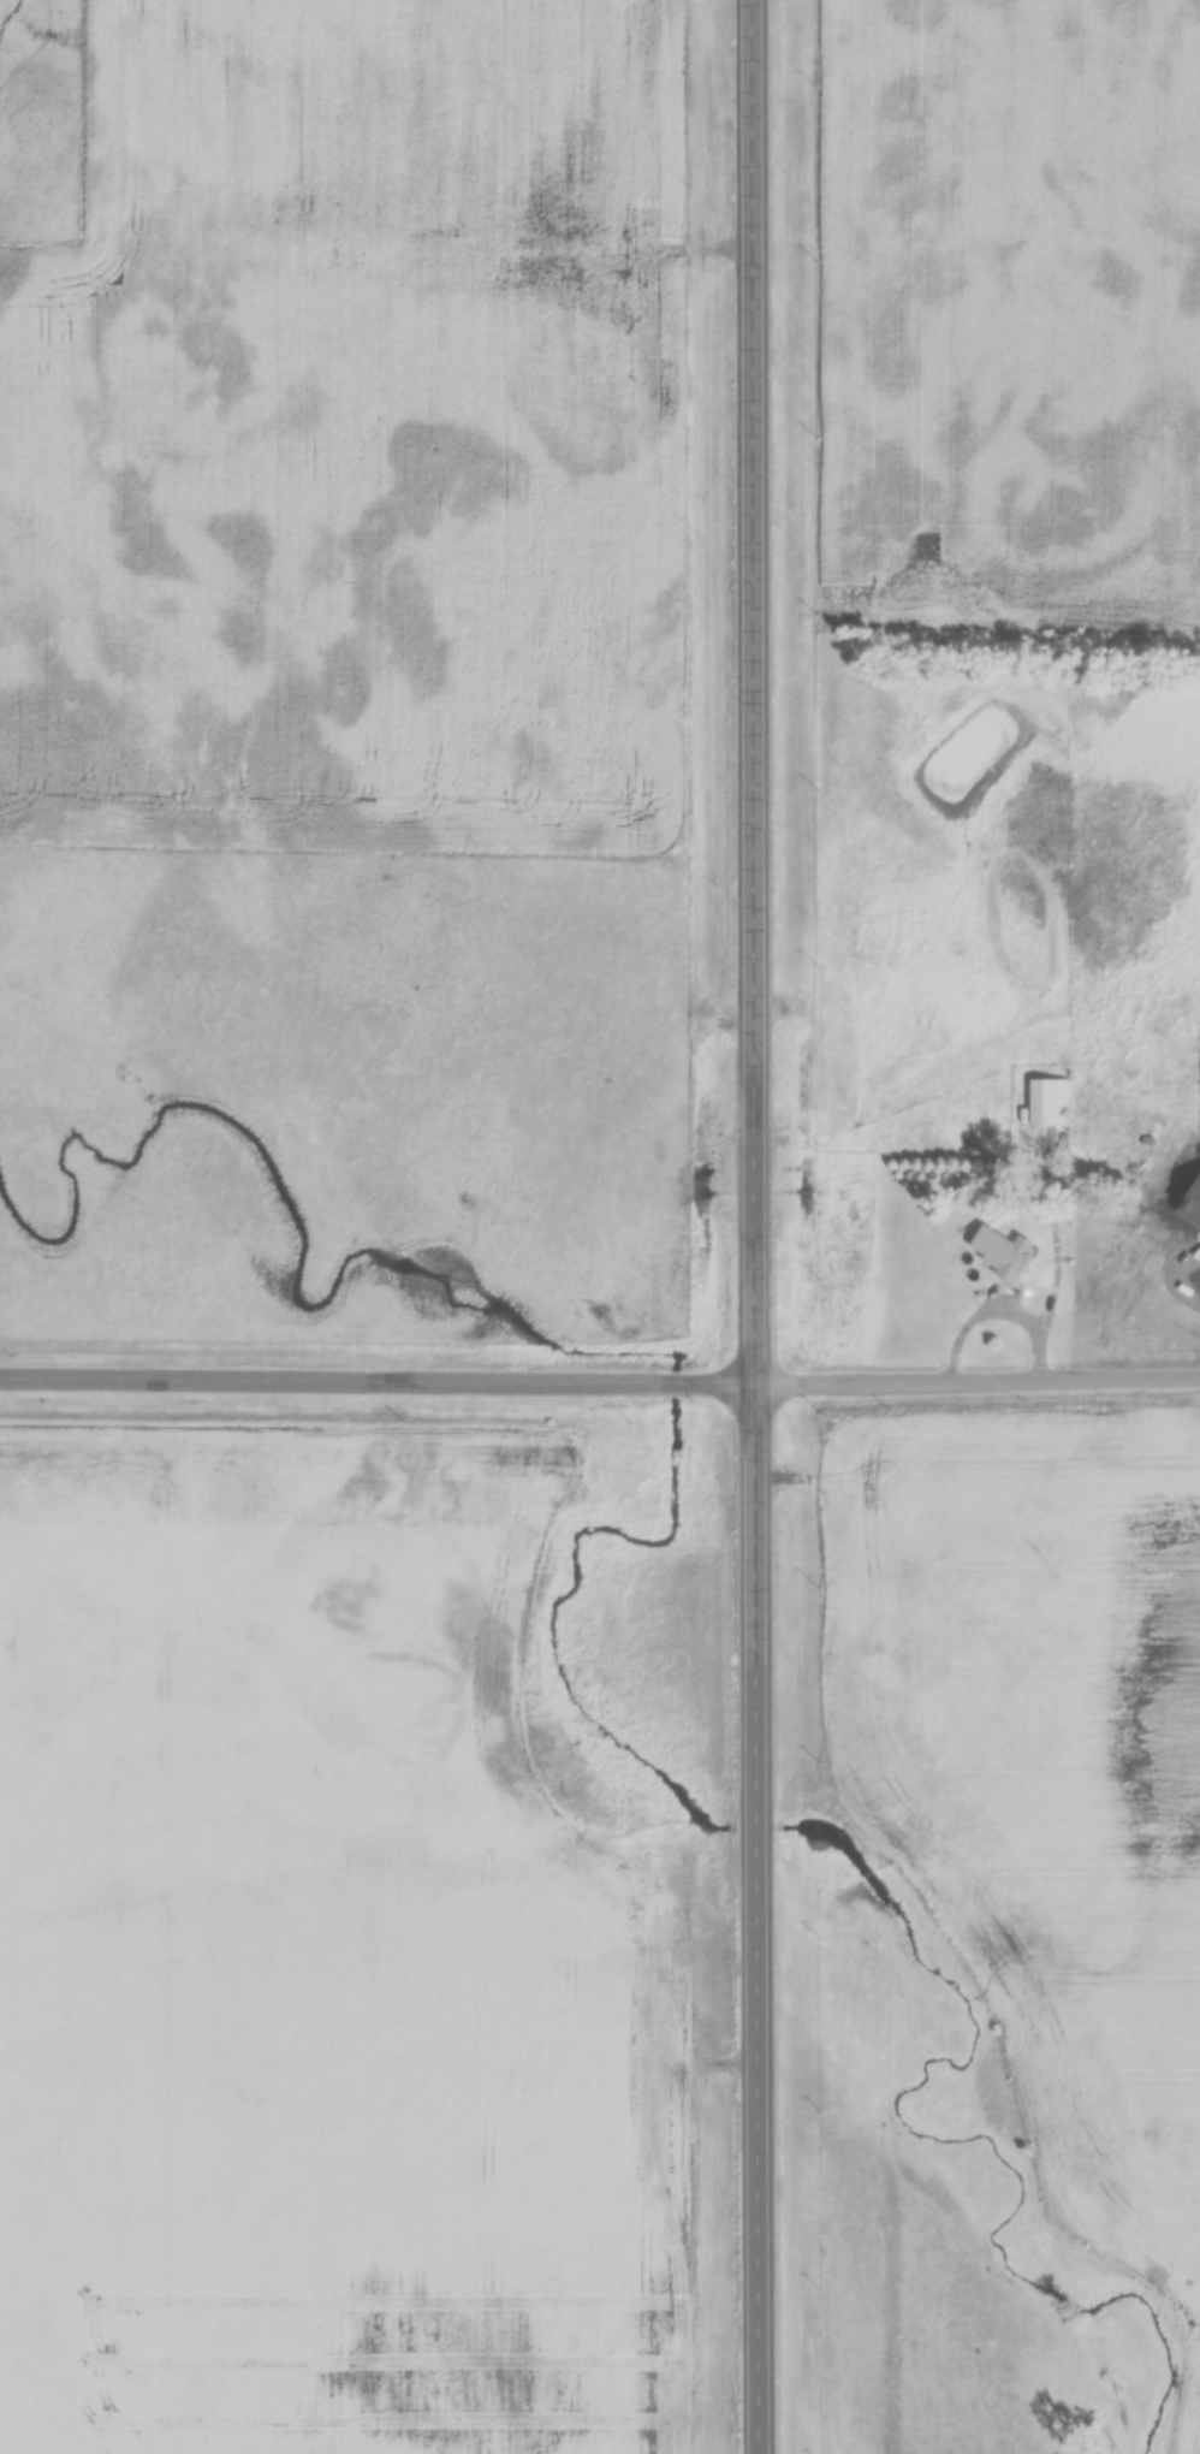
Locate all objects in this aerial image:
road: (967, 12)
building: (1045, 1099)
road: (761, 1227)
building: (996, 1251)
road: (600, 1381)

